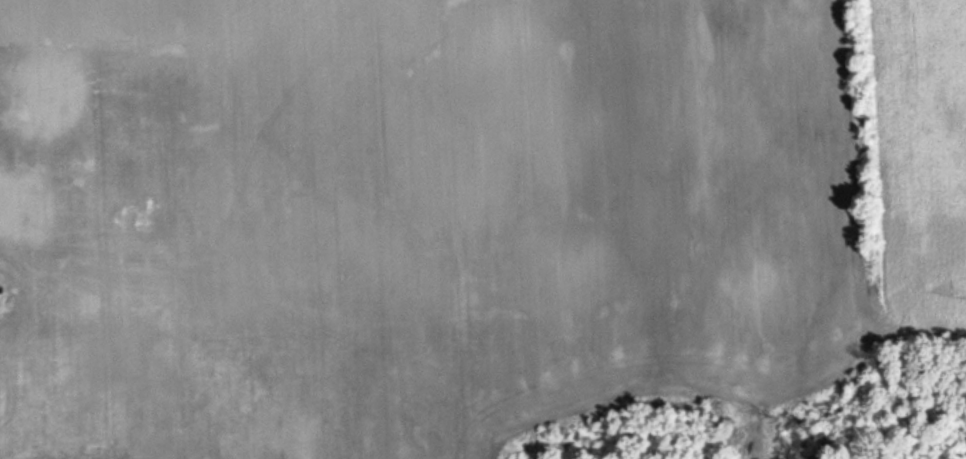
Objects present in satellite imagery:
building: (25, 93)
building: (5, 203)

